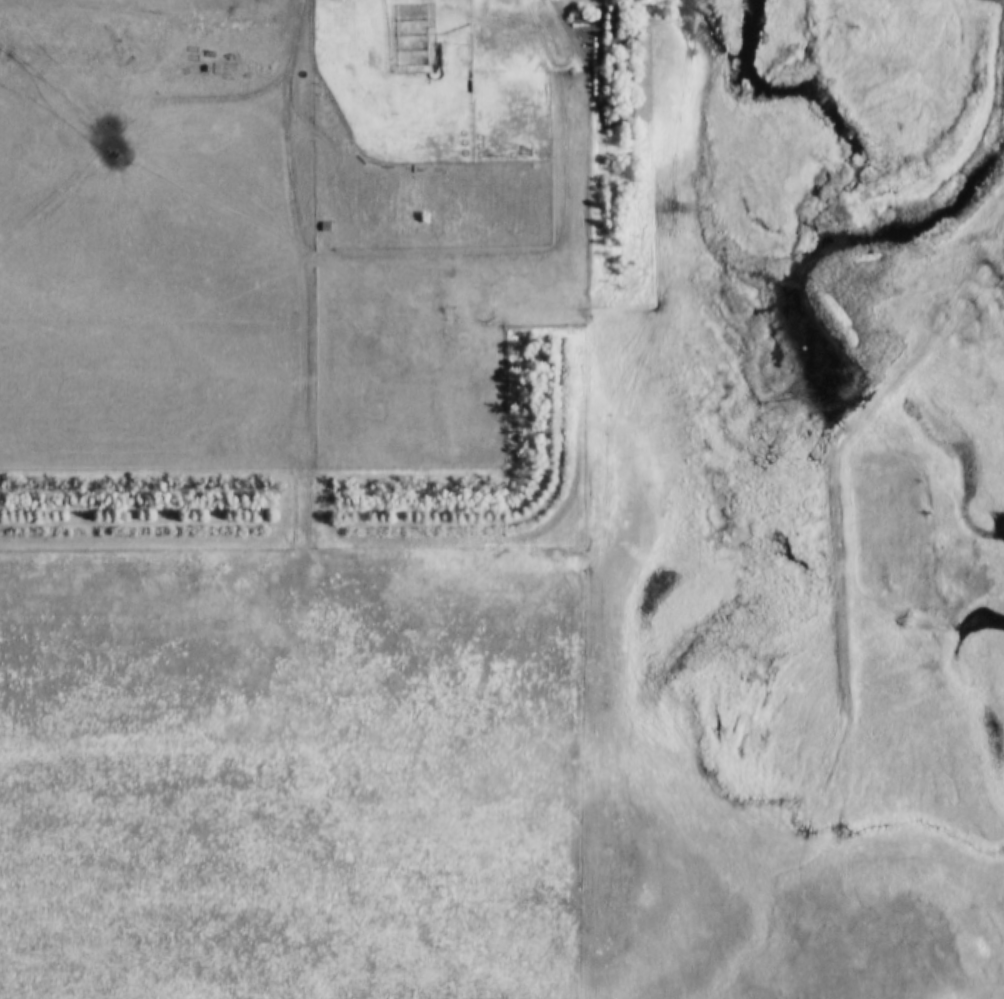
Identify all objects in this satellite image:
road: (300, 113)

